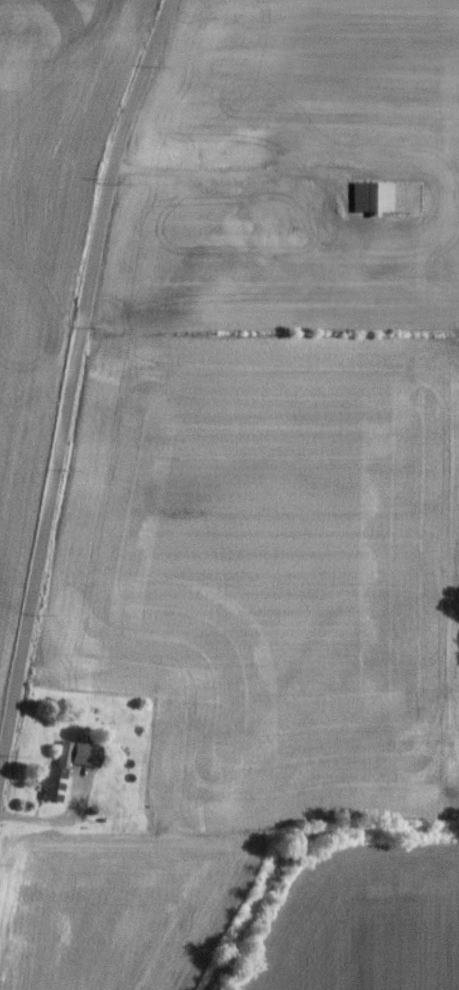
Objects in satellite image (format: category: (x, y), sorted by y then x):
road: (207, 175)
building: (392, 202)
road: (72, 380)
building: (53, 787)

